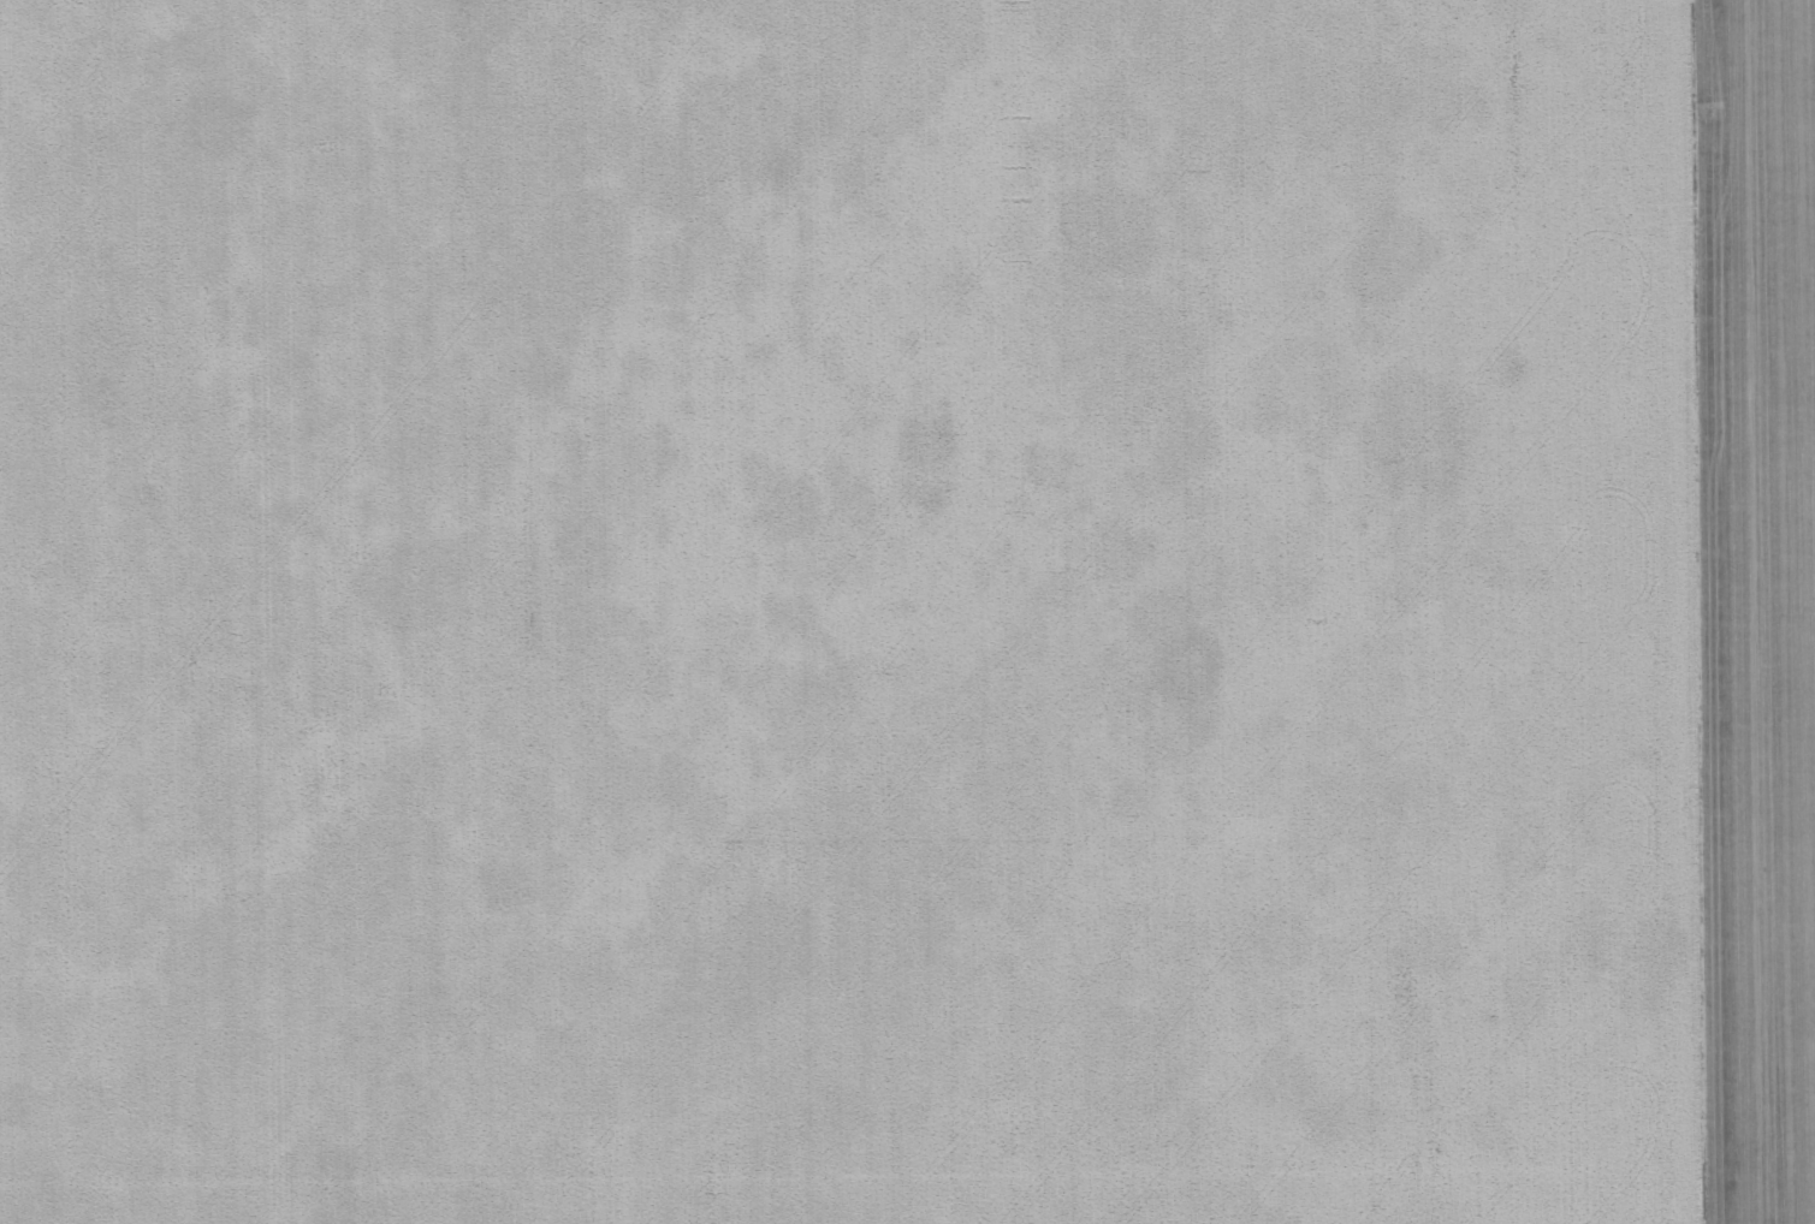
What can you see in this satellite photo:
road: (1716, 612)

